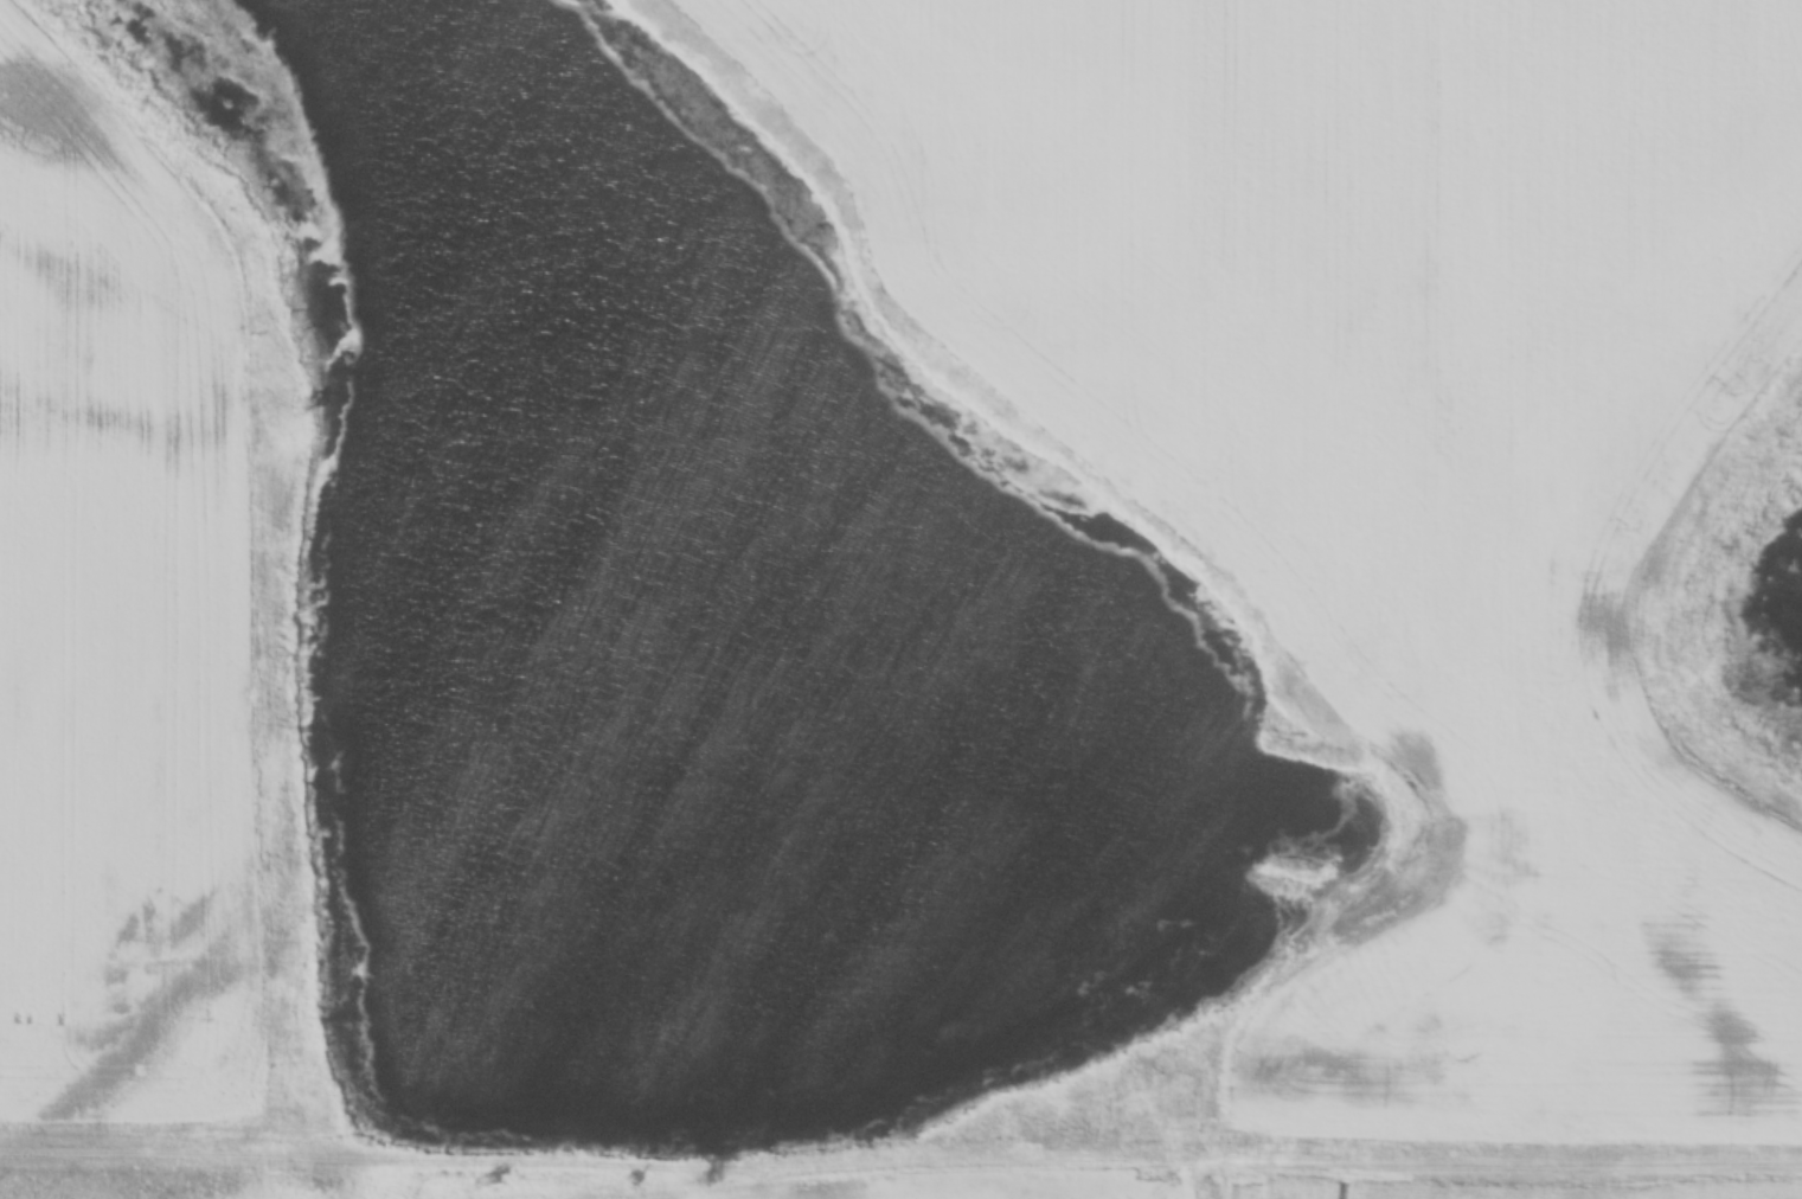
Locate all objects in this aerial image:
road: (900, 1167)

